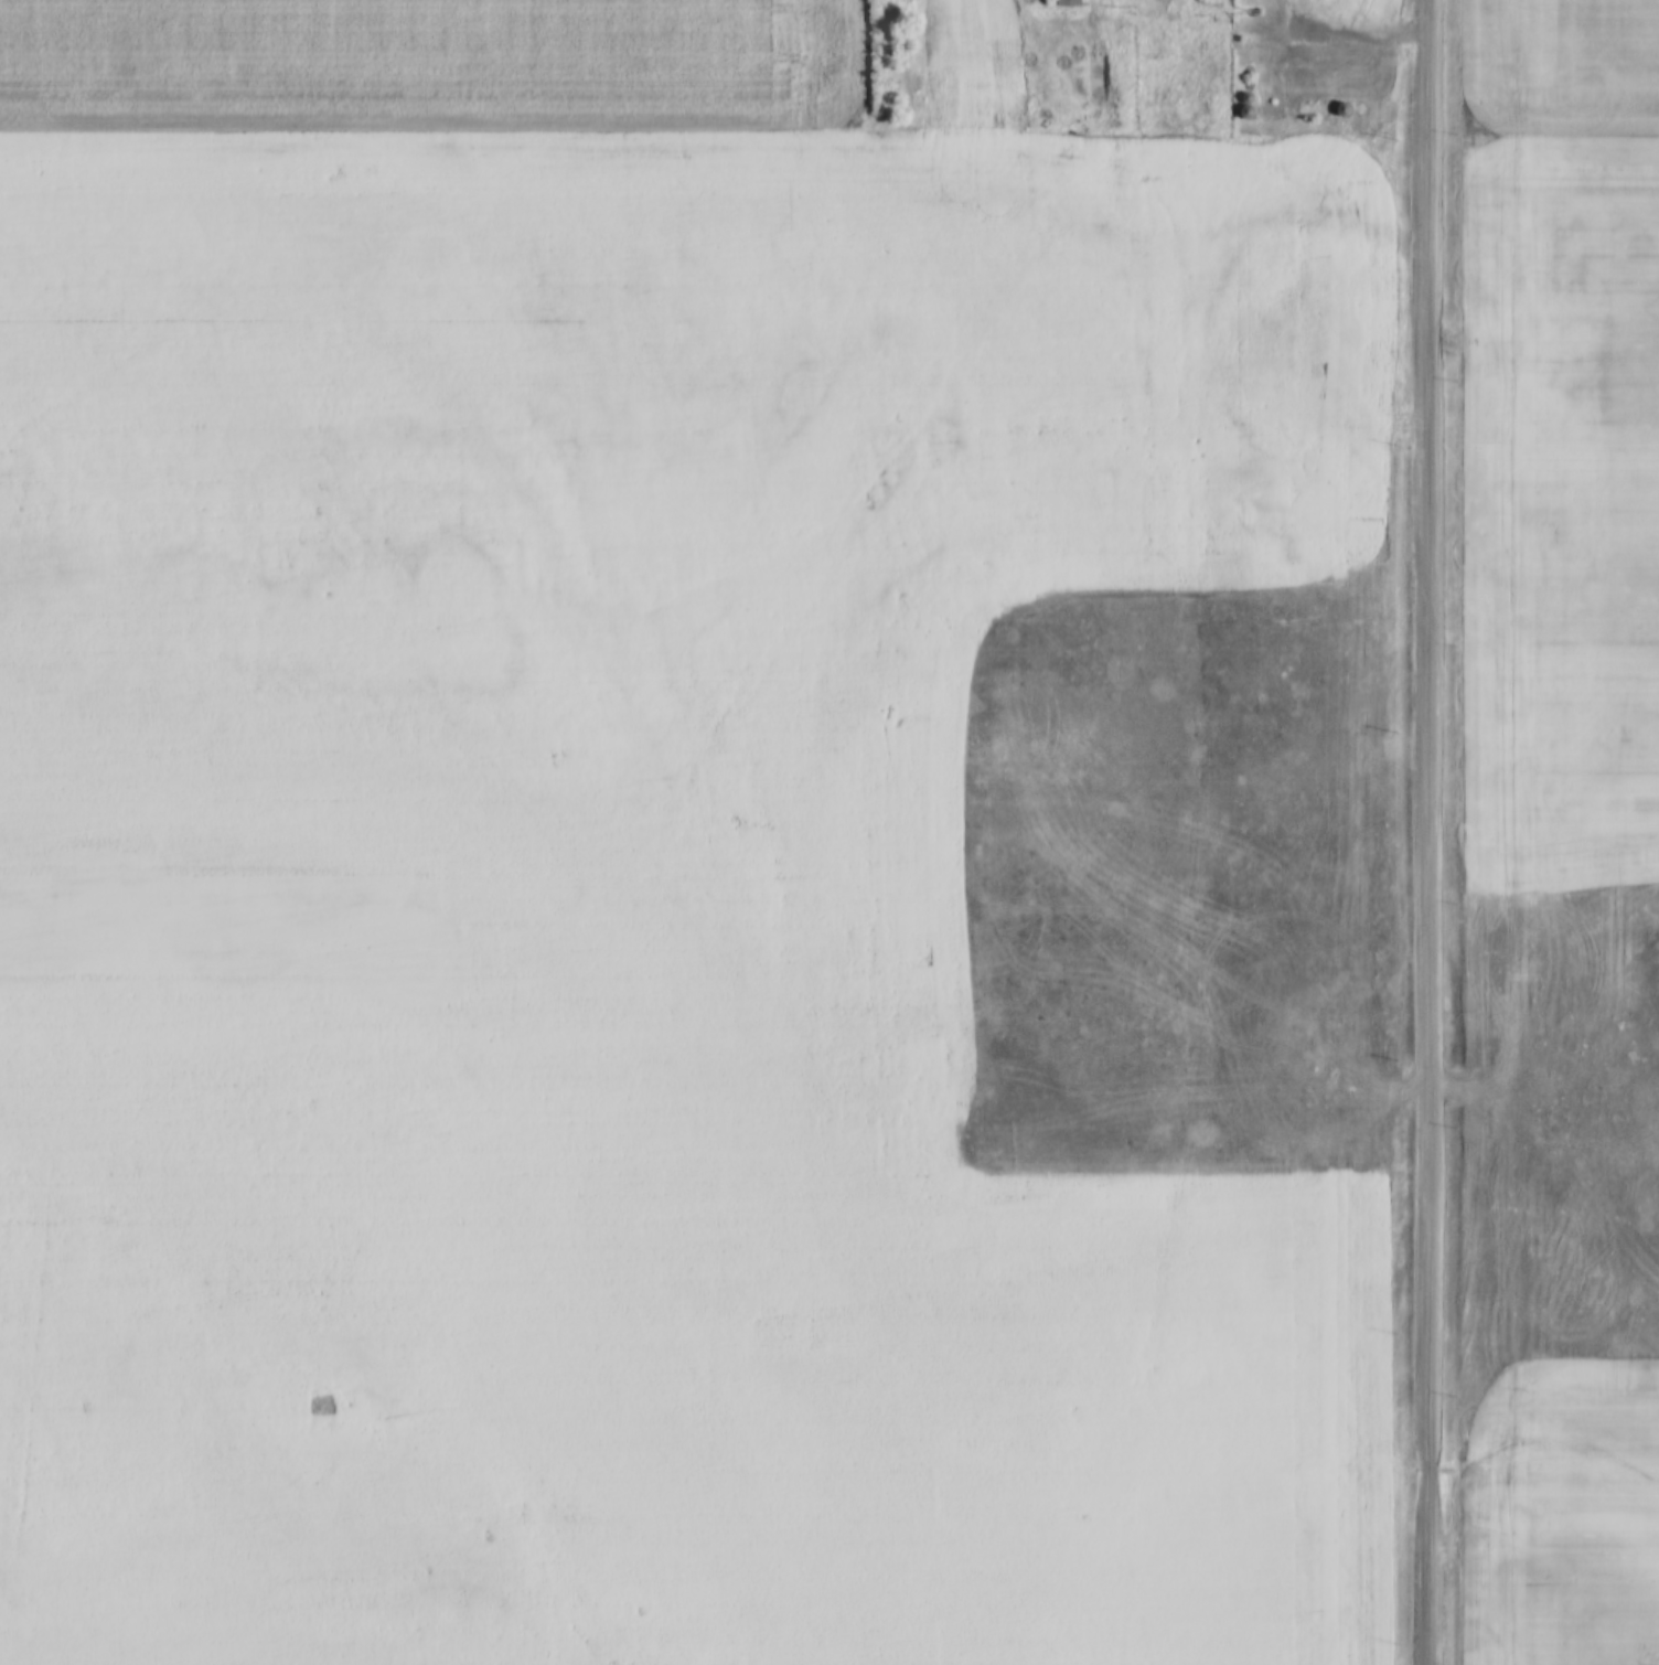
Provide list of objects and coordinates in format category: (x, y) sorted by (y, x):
building: (1068, 2)
road: (1211, 24)
road: (1423, 832)

